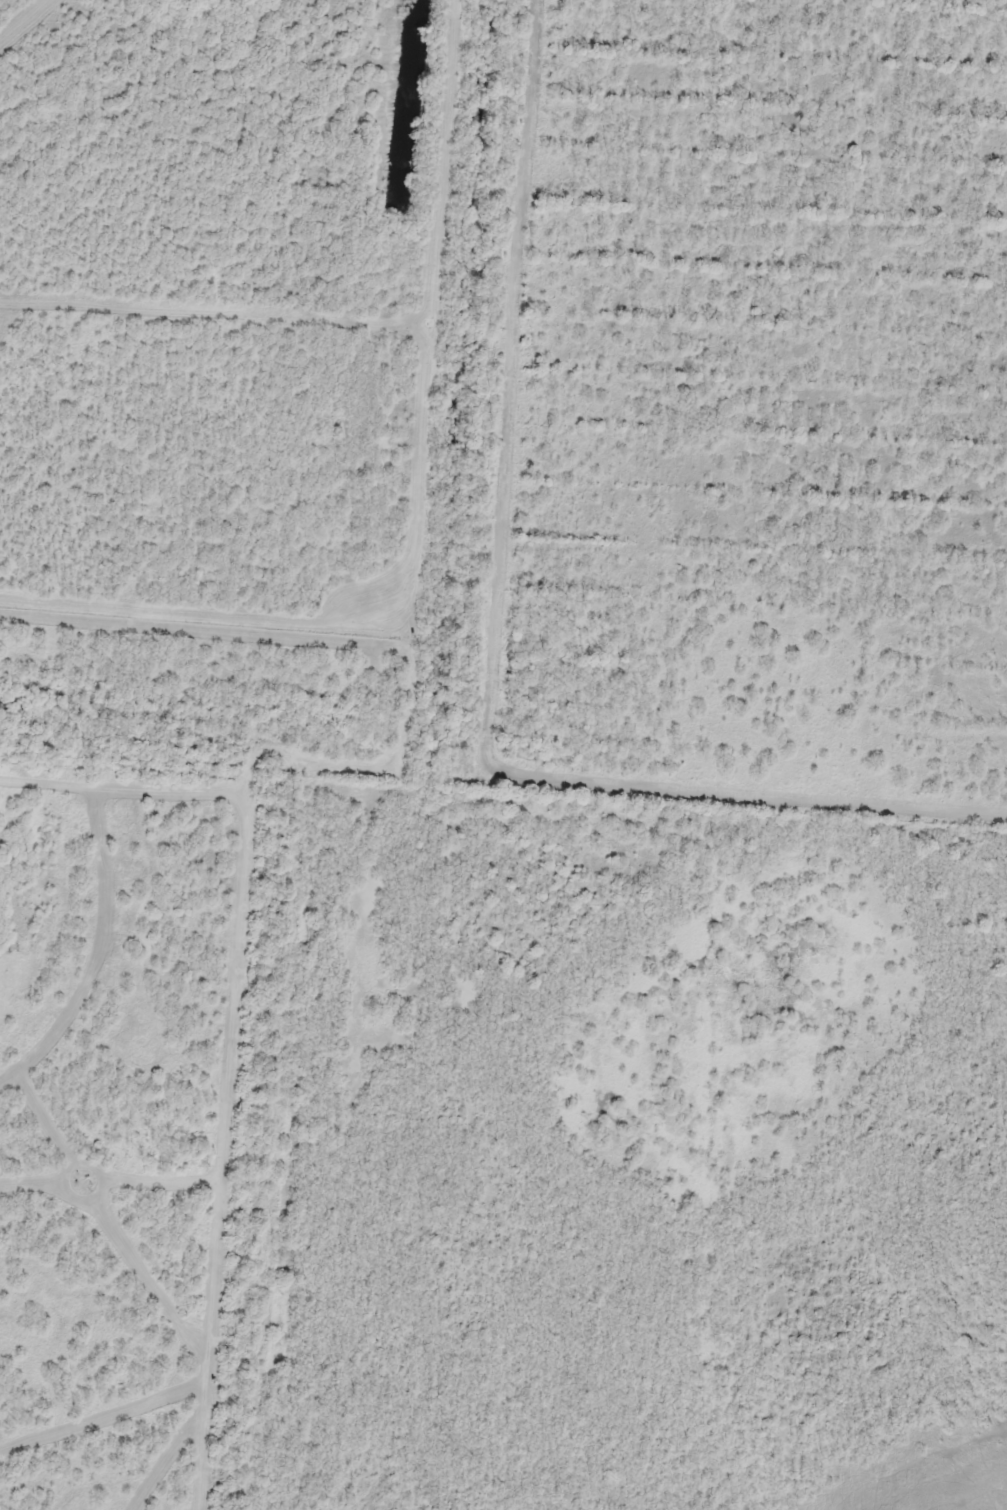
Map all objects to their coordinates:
road: (503, 5)
road: (484, 385)
road: (251, 769)
road: (355, 912)

